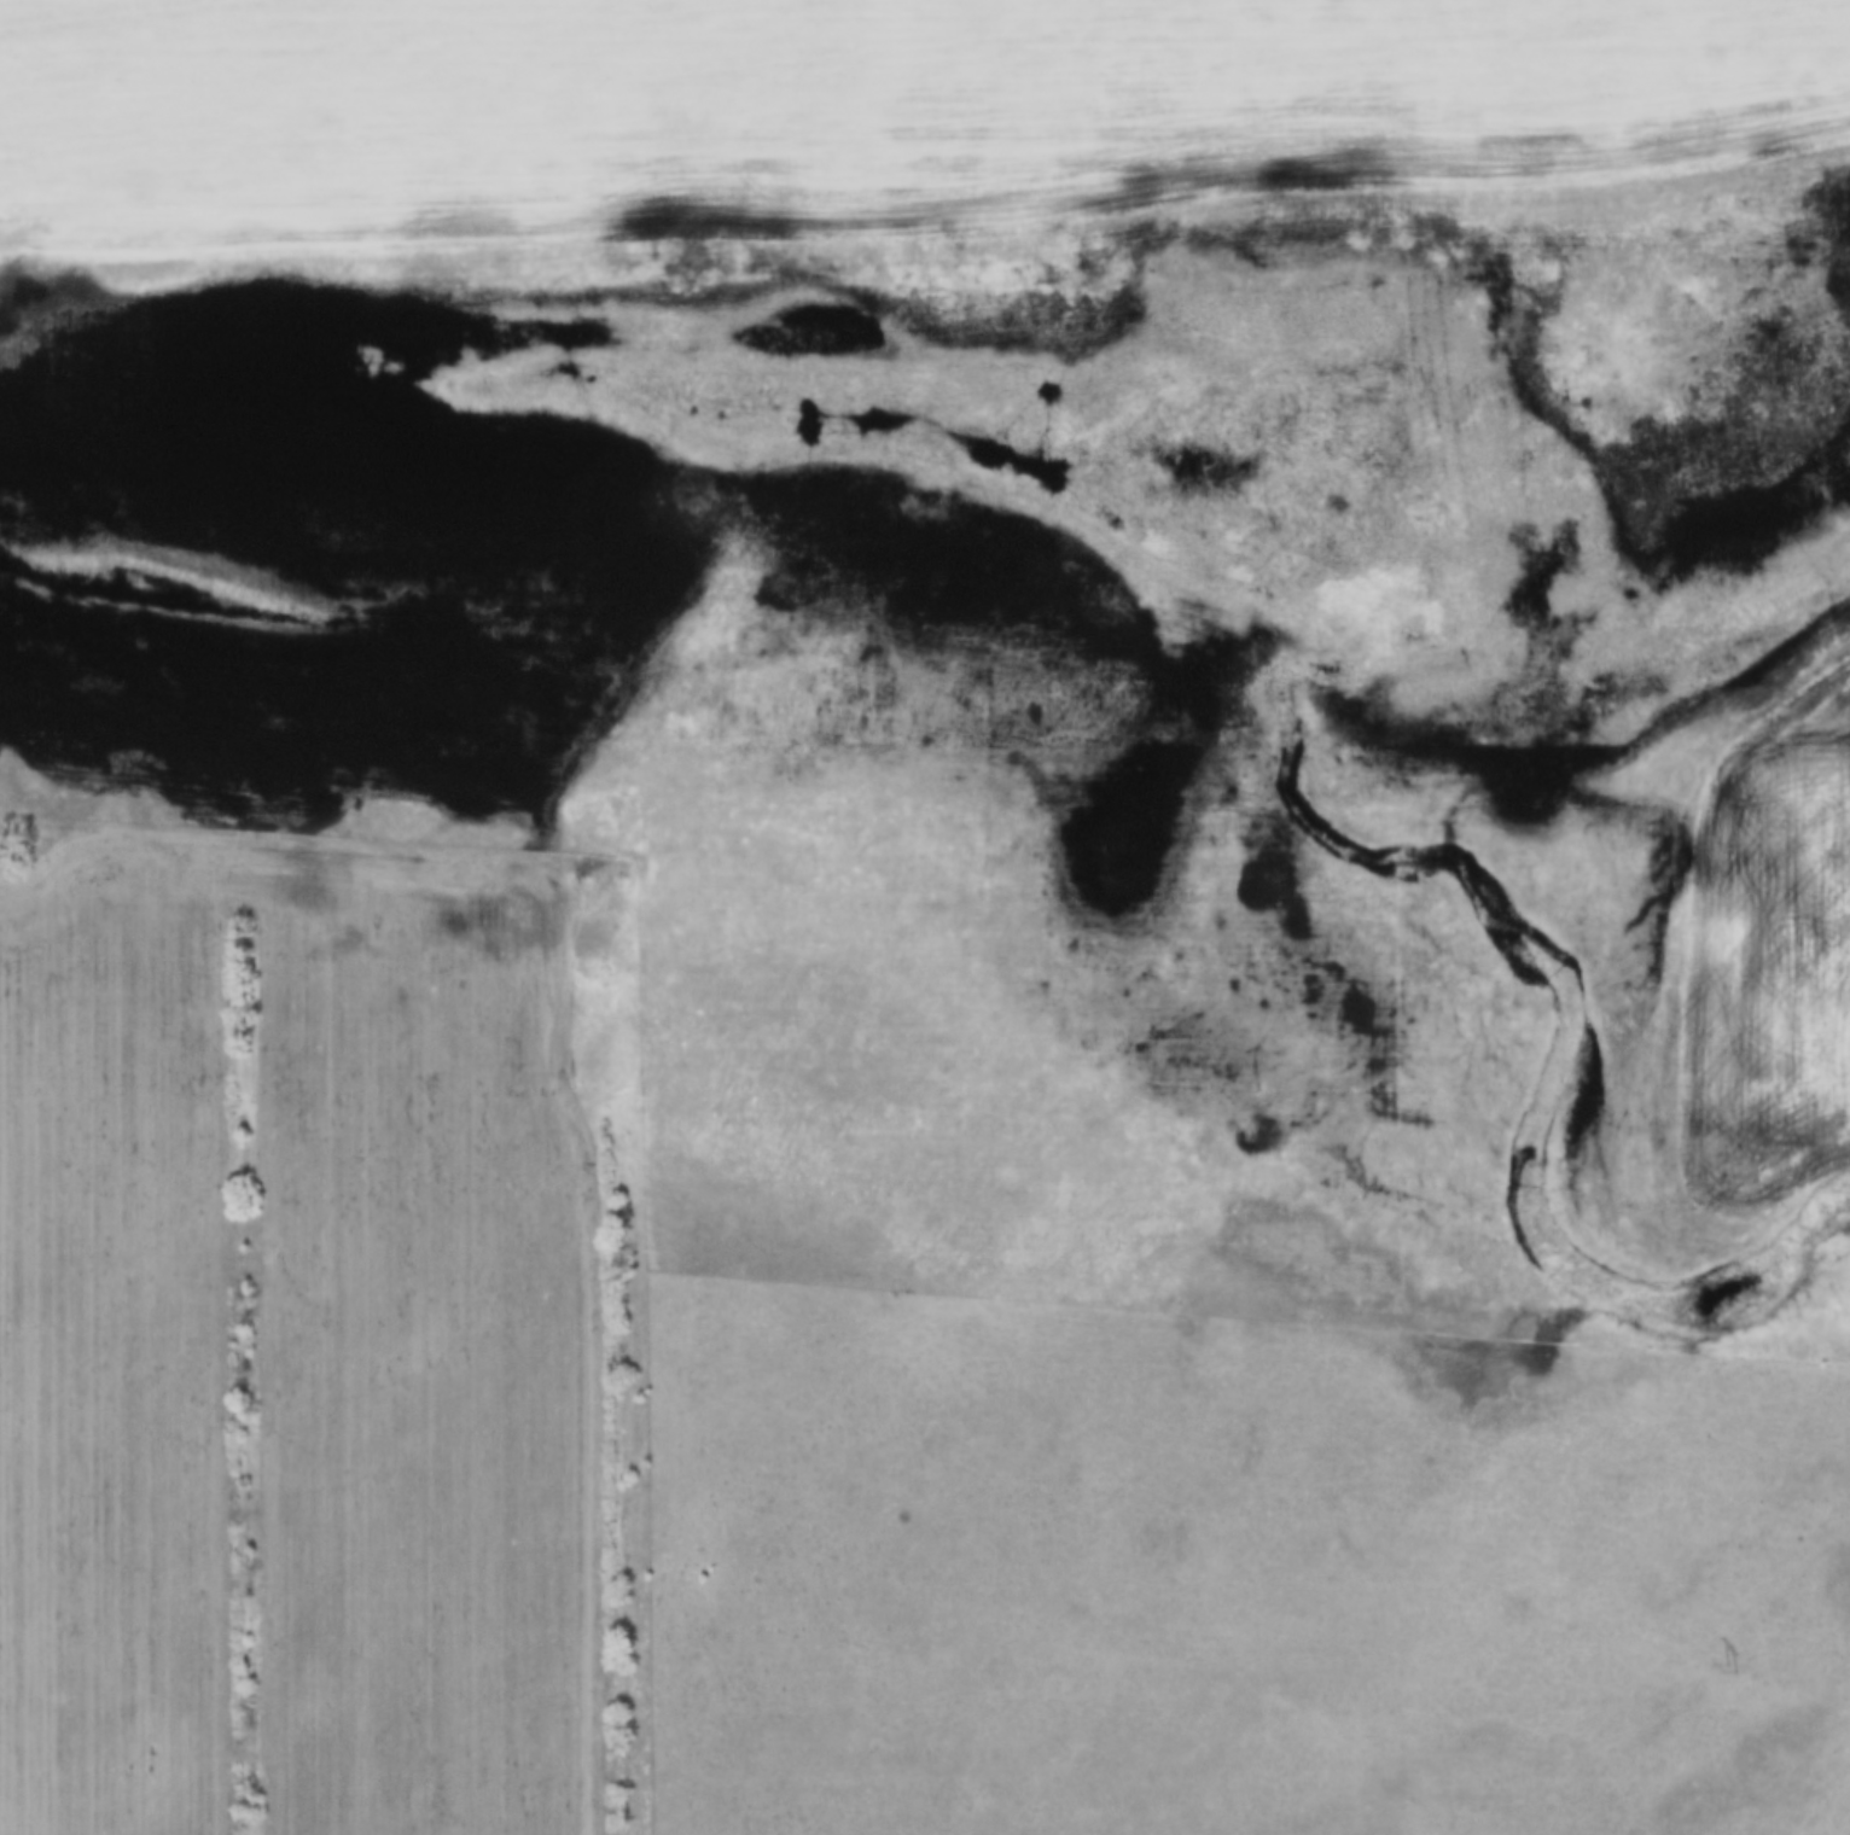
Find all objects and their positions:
power tower: (1728, 1667)

